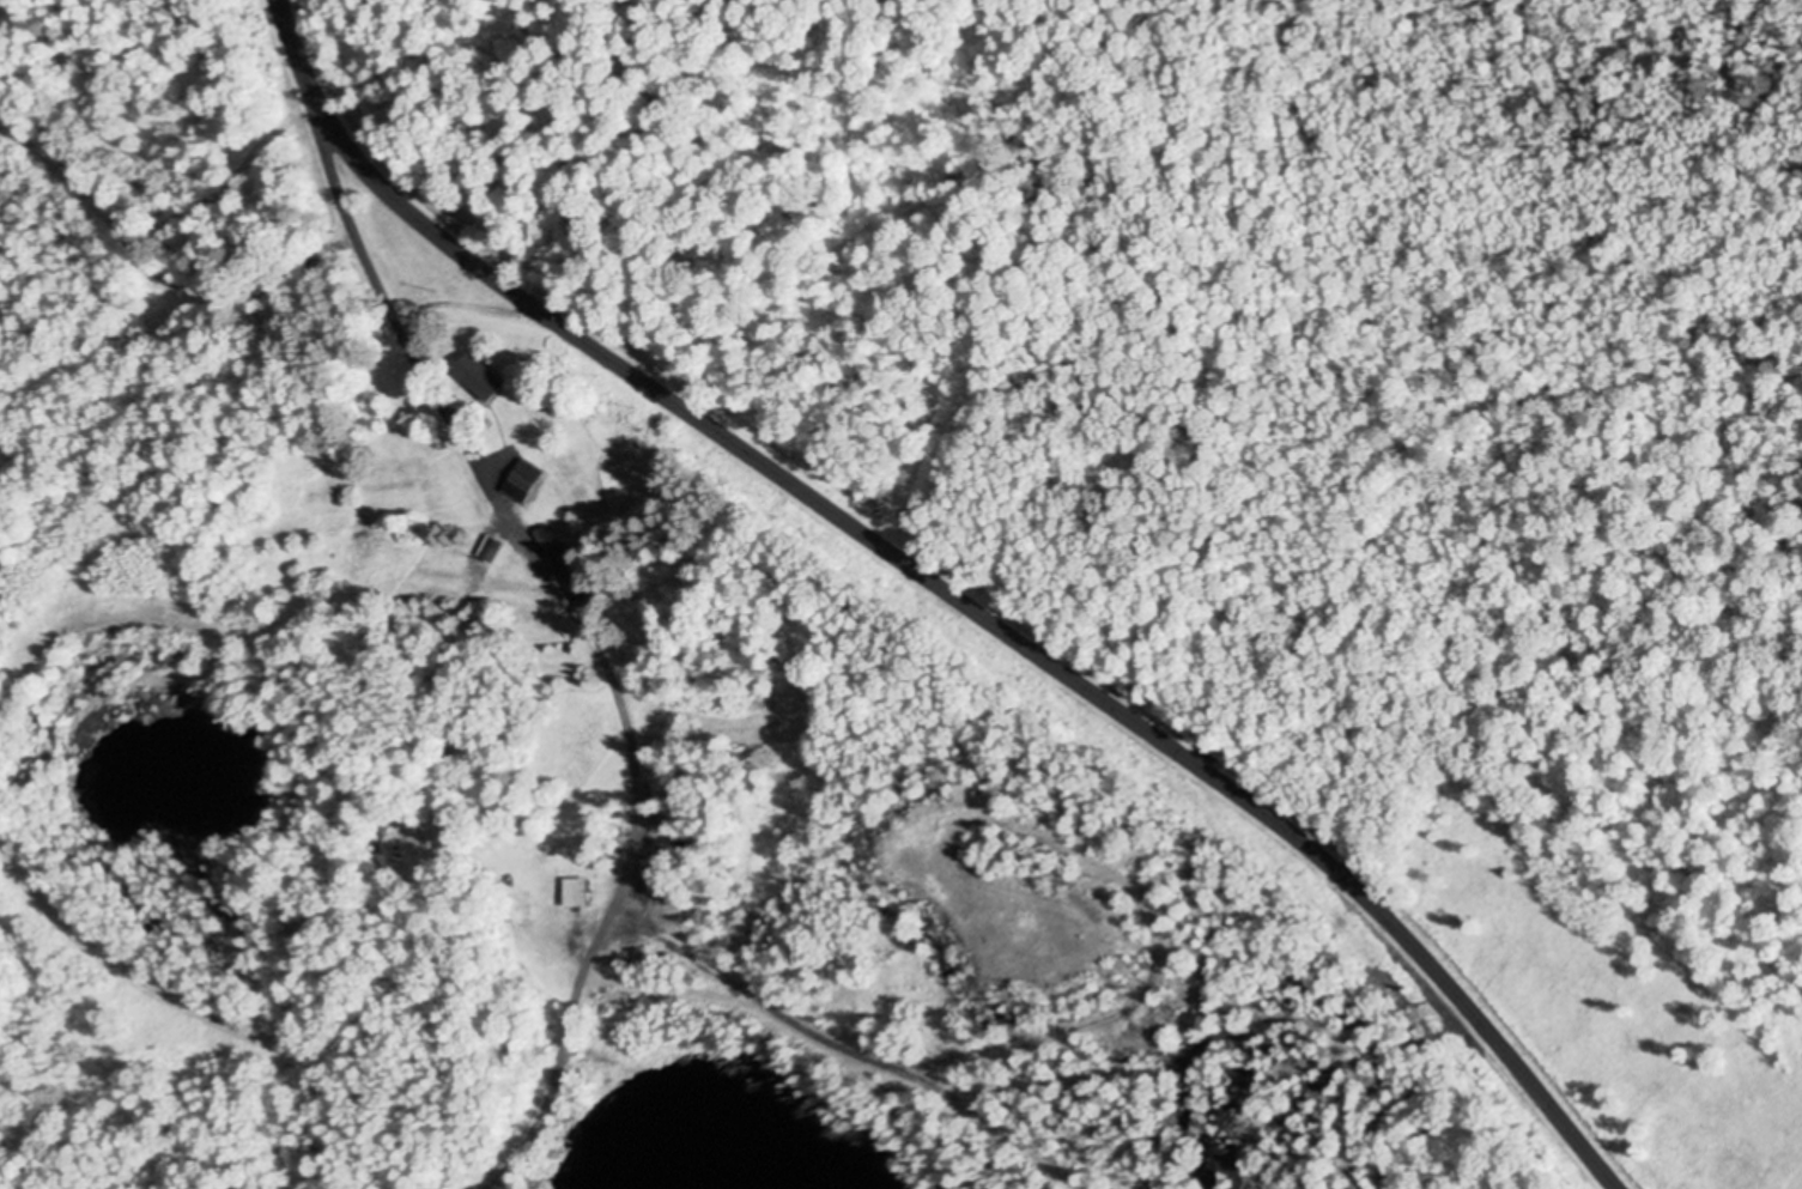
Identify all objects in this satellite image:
road: (237, 304)
building: (485, 375)
building: (528, 479)
building: (497, 547)
building: (570, 565)
road: (944, 589)
road: (595, 637)
building: (583, 888)
road: (1044, 1031)

